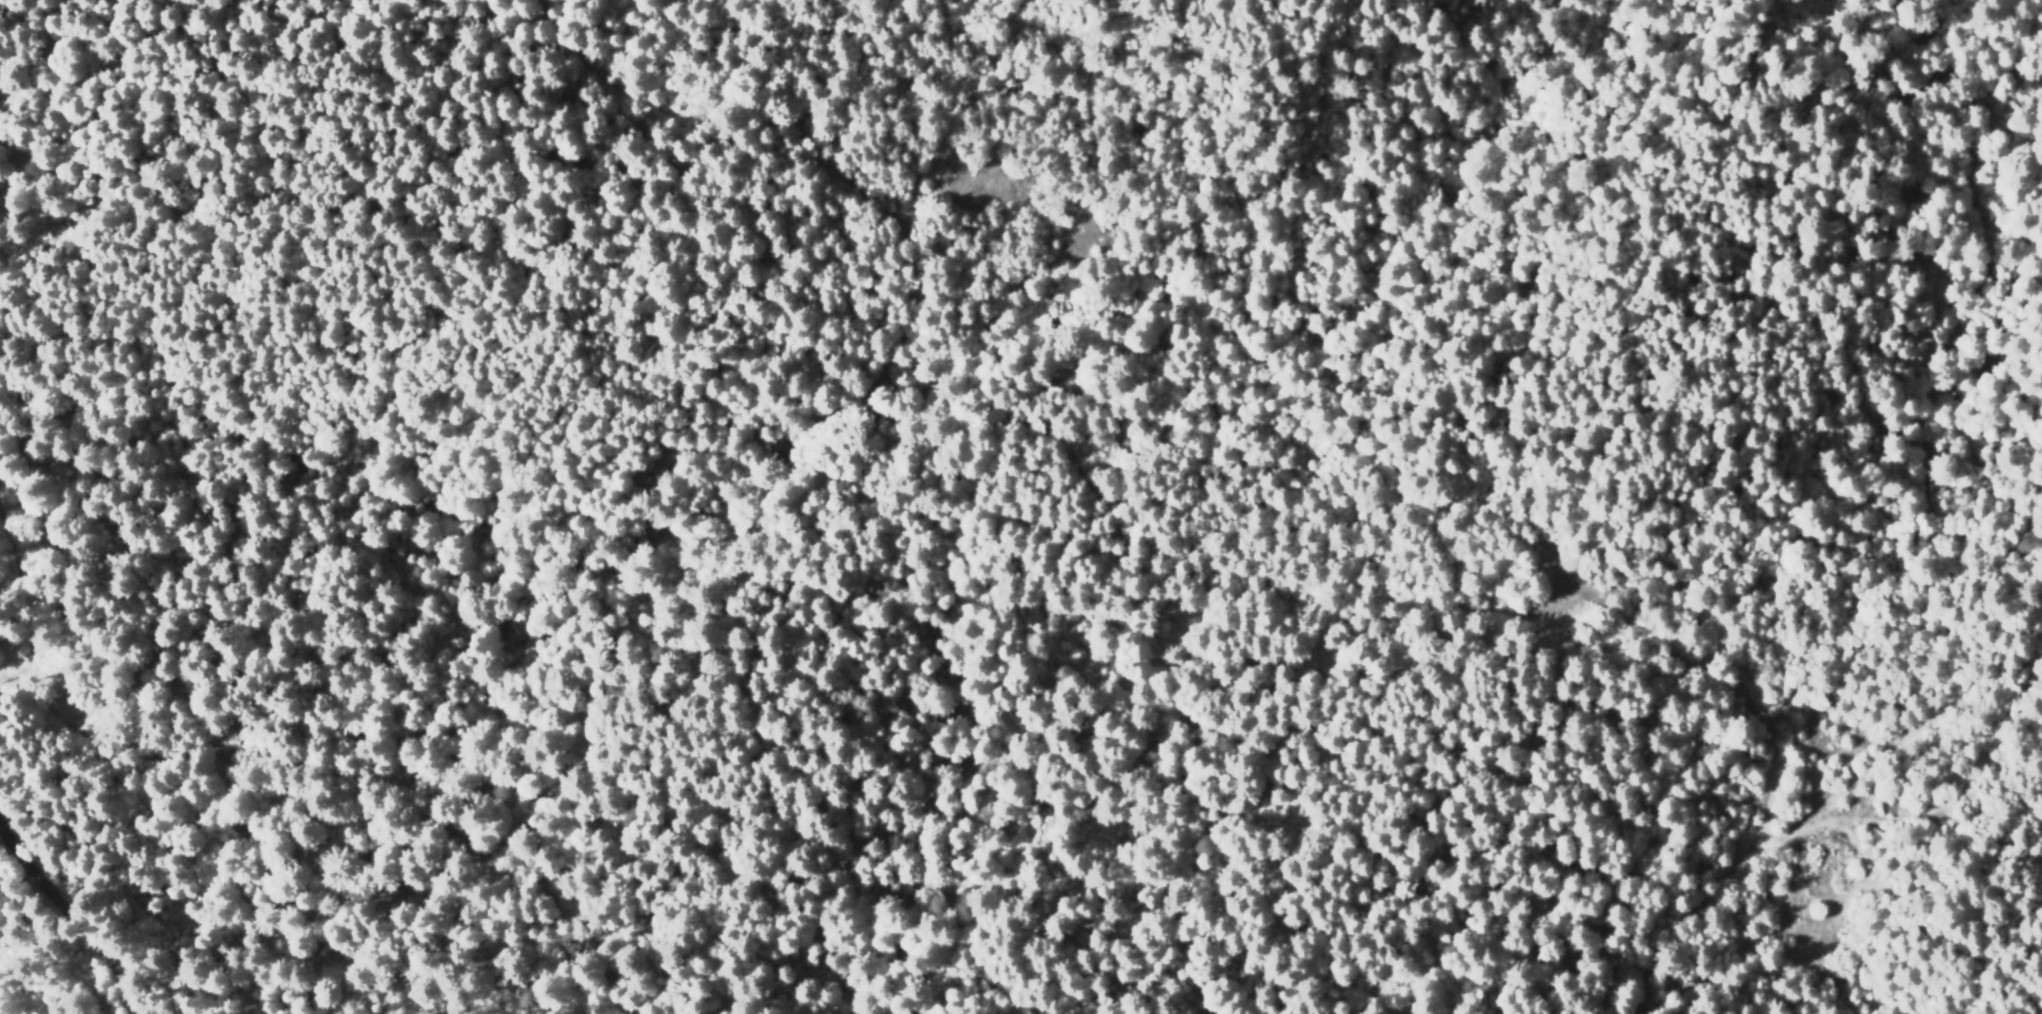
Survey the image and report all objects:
road: (72, 911)

